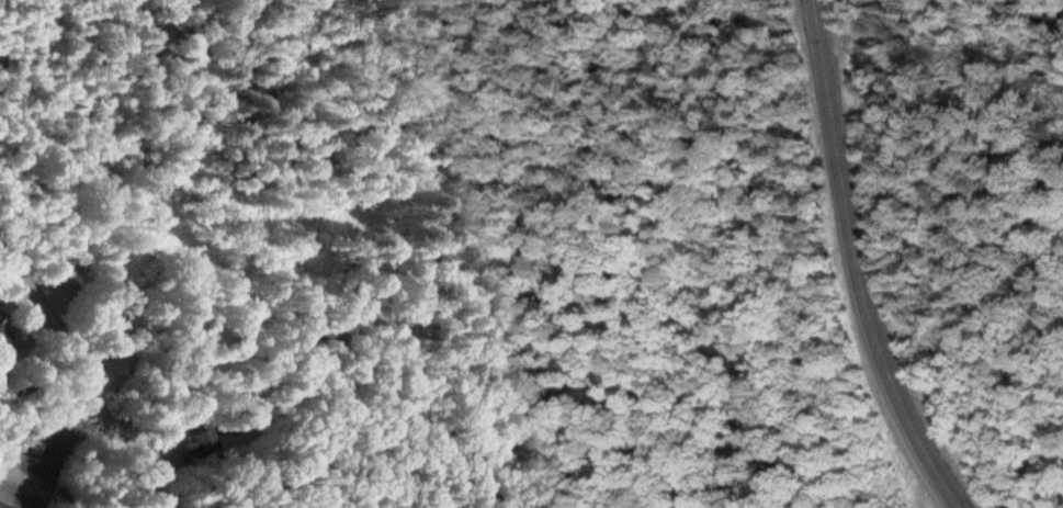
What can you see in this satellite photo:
road: (856, 264)
road: (77, 376)

